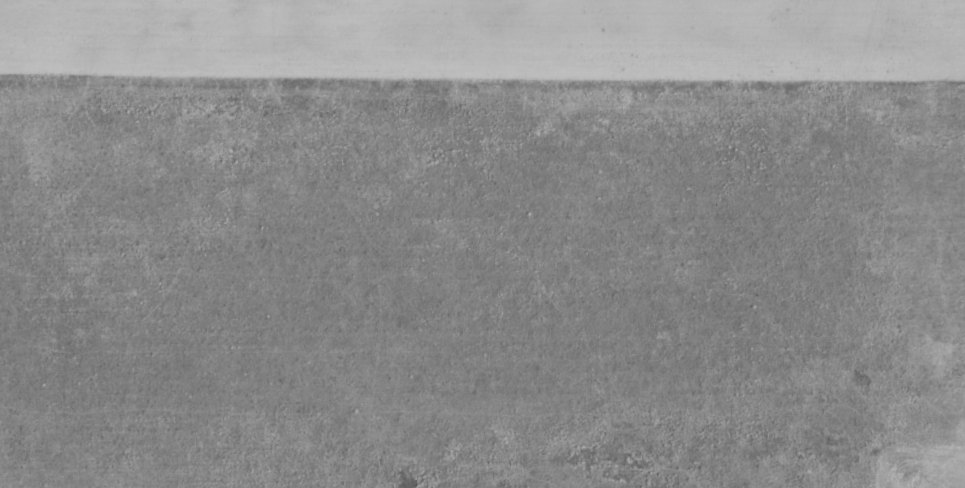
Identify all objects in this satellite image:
crop: (482, 244)

